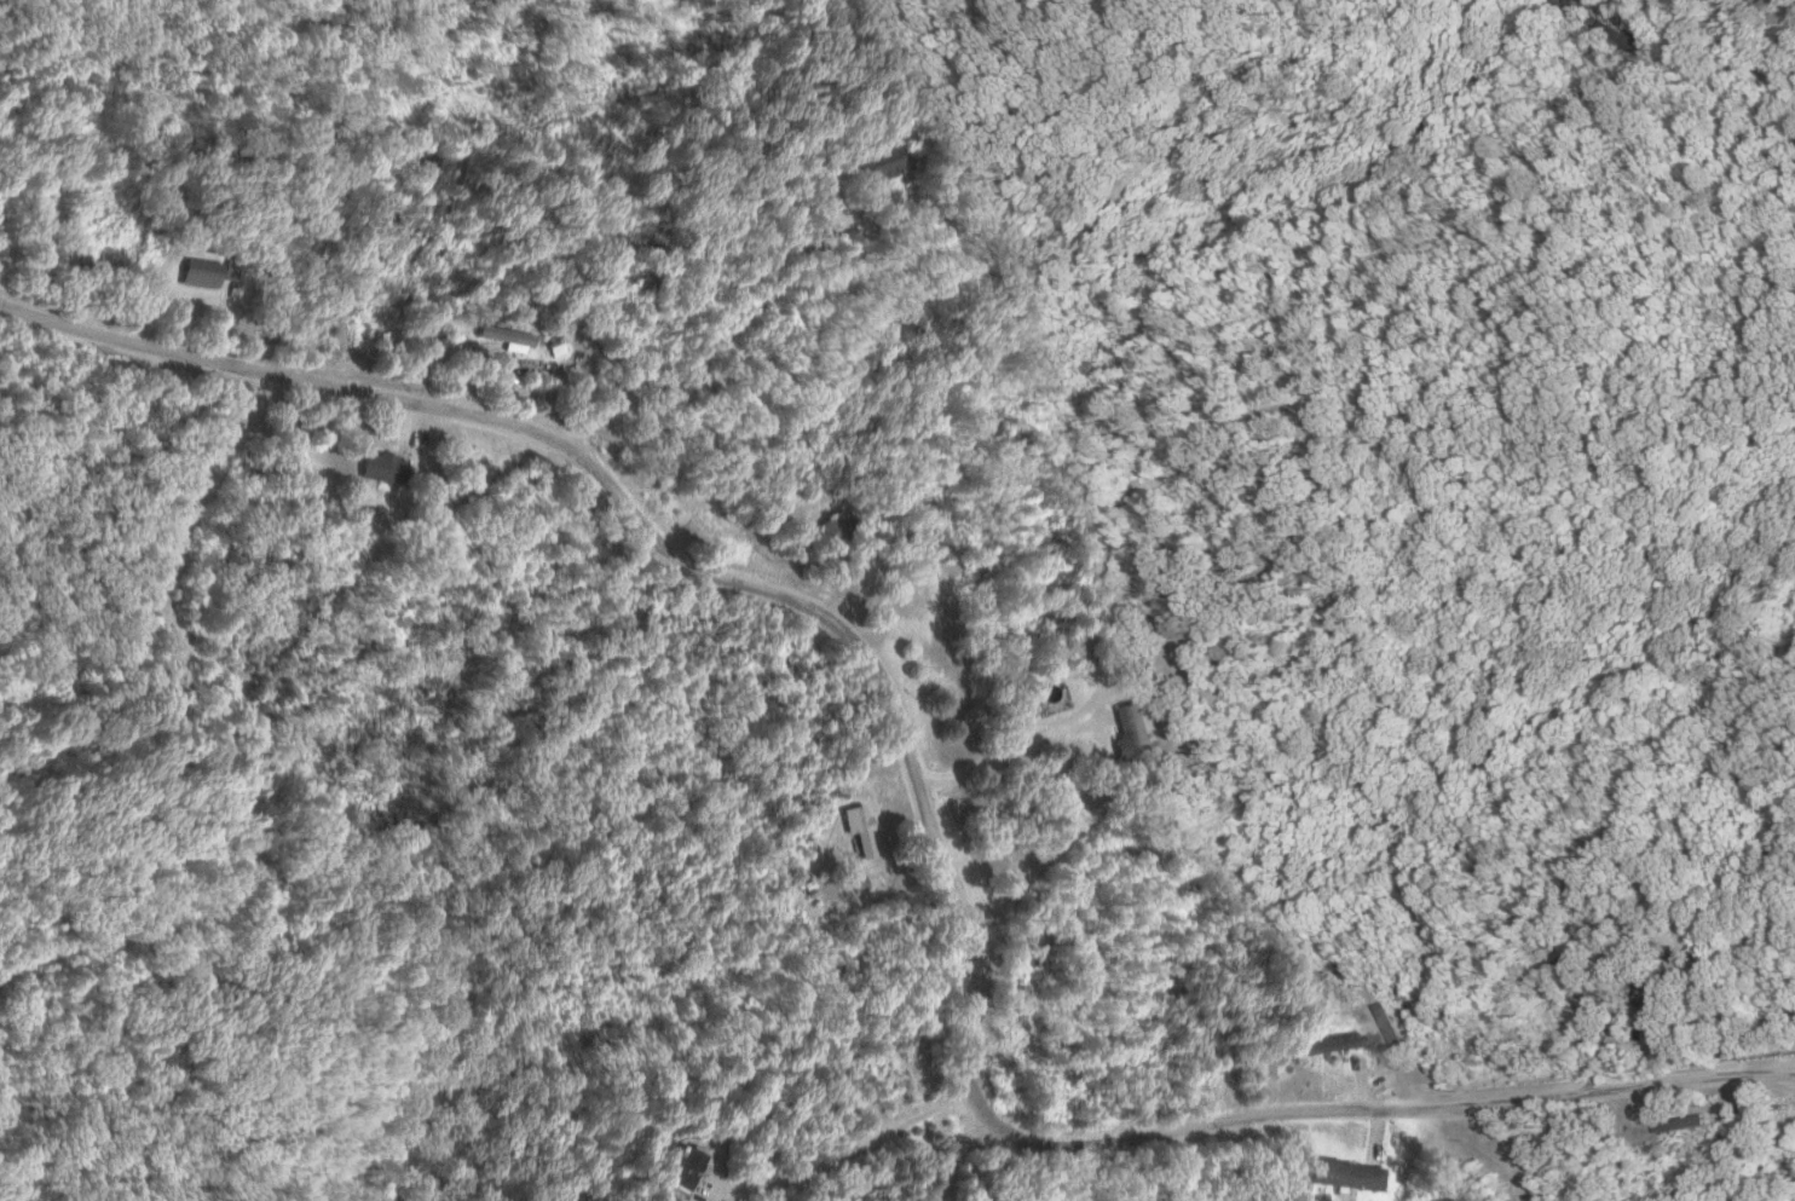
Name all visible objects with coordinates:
building: (875, 162)
building: (194, 272)
building: (502, 336)
road: (702, 339)
building: (375, 466)
building: (830, 525)
road: (160, 538)
building: (1138, 675)
building: (1124, 738)
building: (854, 826)
road: (929, 831)
building: (853, 882)
road: (942, 1160)
building: (676, 1168)
building: (1339, 1173)

